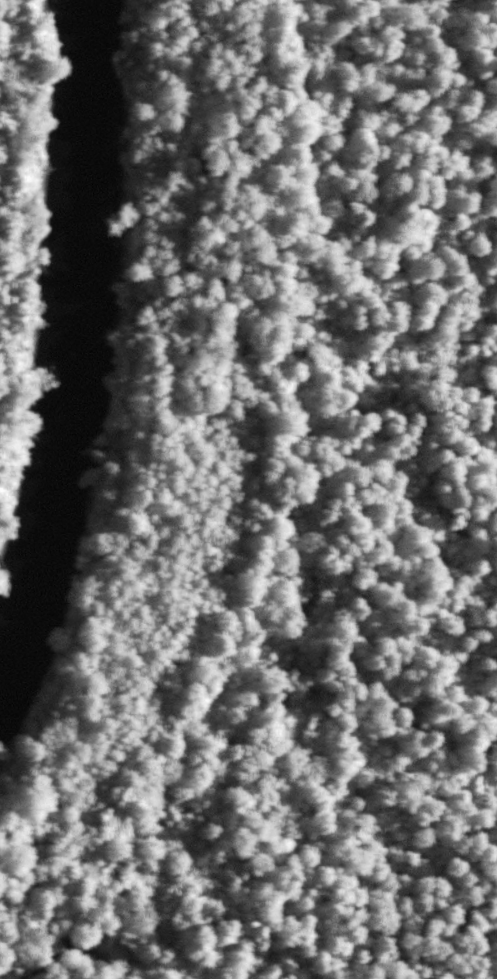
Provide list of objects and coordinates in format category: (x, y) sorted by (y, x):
river: (65, 328)

